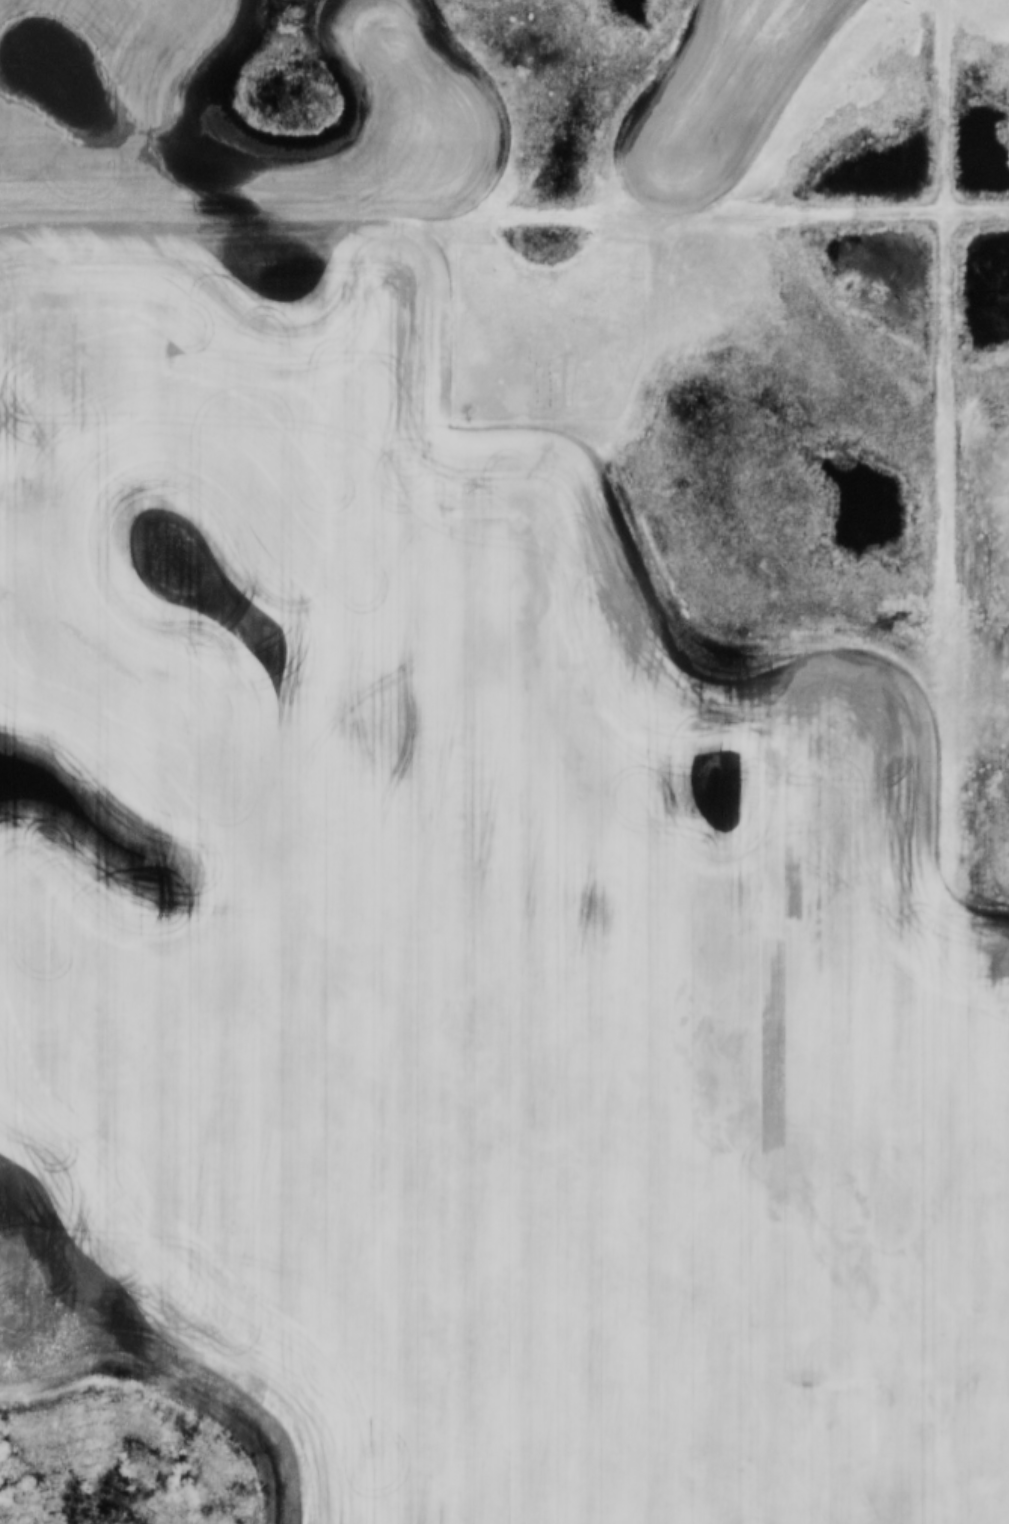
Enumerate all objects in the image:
road: (680, 219)
road: (947, 871)

